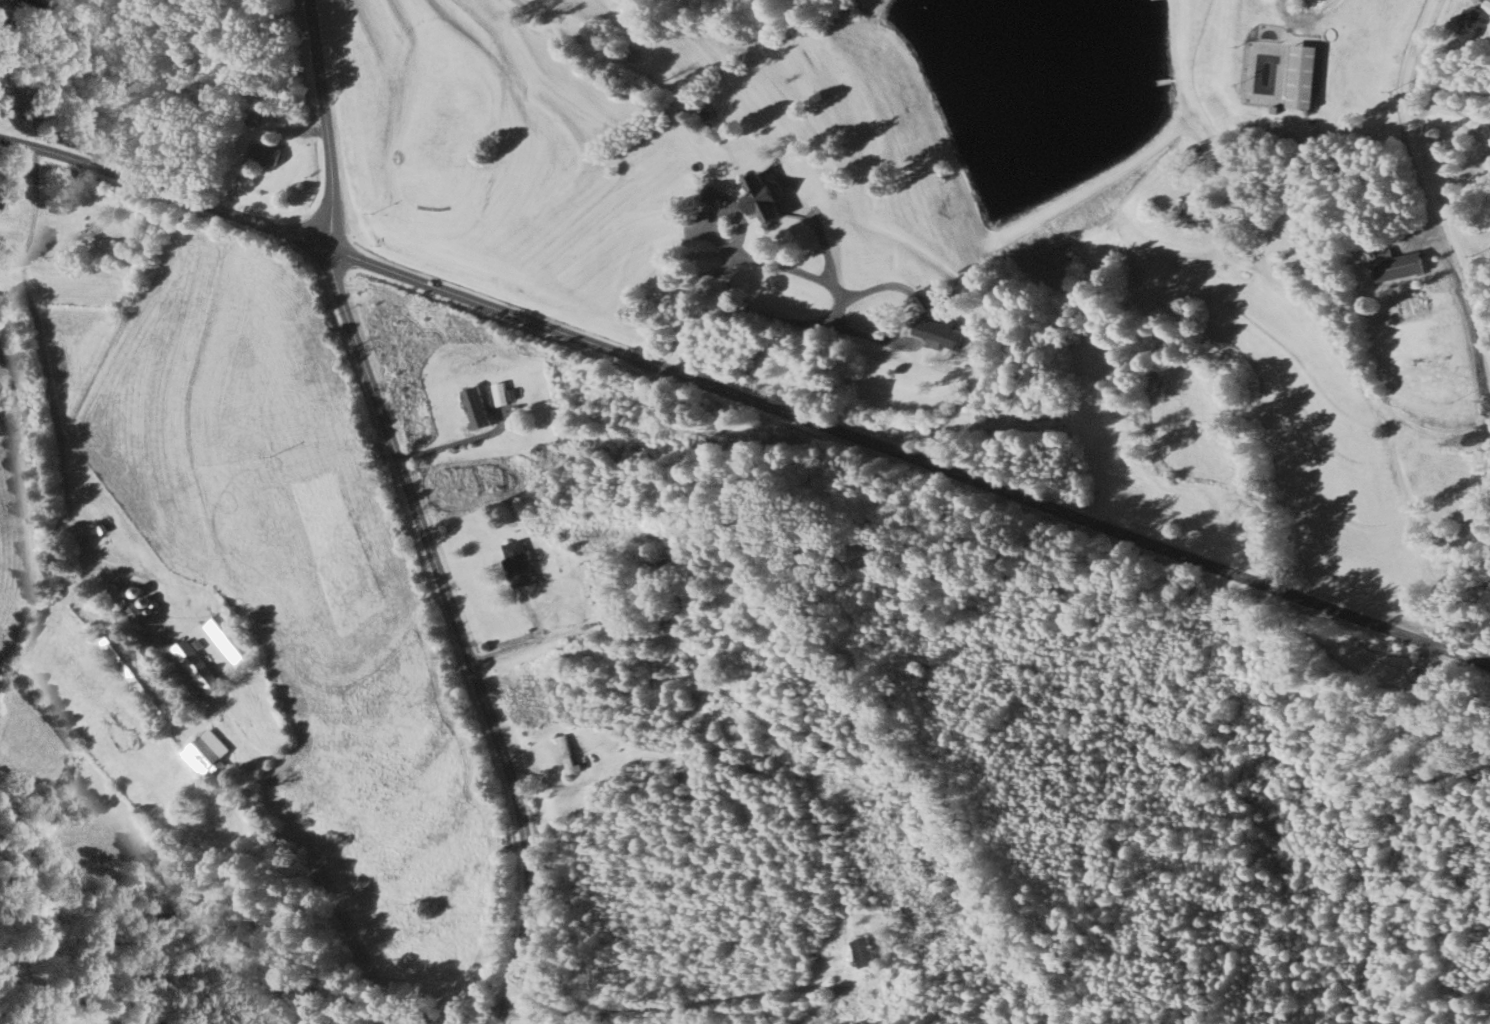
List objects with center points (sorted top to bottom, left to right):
building: (34, 2)
road: (1308, 15)
building: (1474, 20)
building: (1299, 76)
building: (251, 118)
road: (324, 123)
building: (1483, 131)
building: (264, 152)
road: (1430, 187)
building: (1, 195)
building: (761, 199)
building: (1187, 209)
road: (34, 217)
road: (771, 261)
building: (1396, 263)
building: (940, 332)
building: (499, 393)
road: (745, 400)
building: (475, 407)
road: (1463, 548)
building: (516, 563)
building: (594, 576)
building: (111, 588)
building: (654, 599)
road: (459, 633)
building: (230, 637)
road: (520, 642)
building: (195, 663)
building: (137, 675)
building: (566, 752)
building: (208, 753)
building: (686, 772)
road: (552, 782)
building: (865, 950)
road: (716, 1000)
road: (558, 1013)

